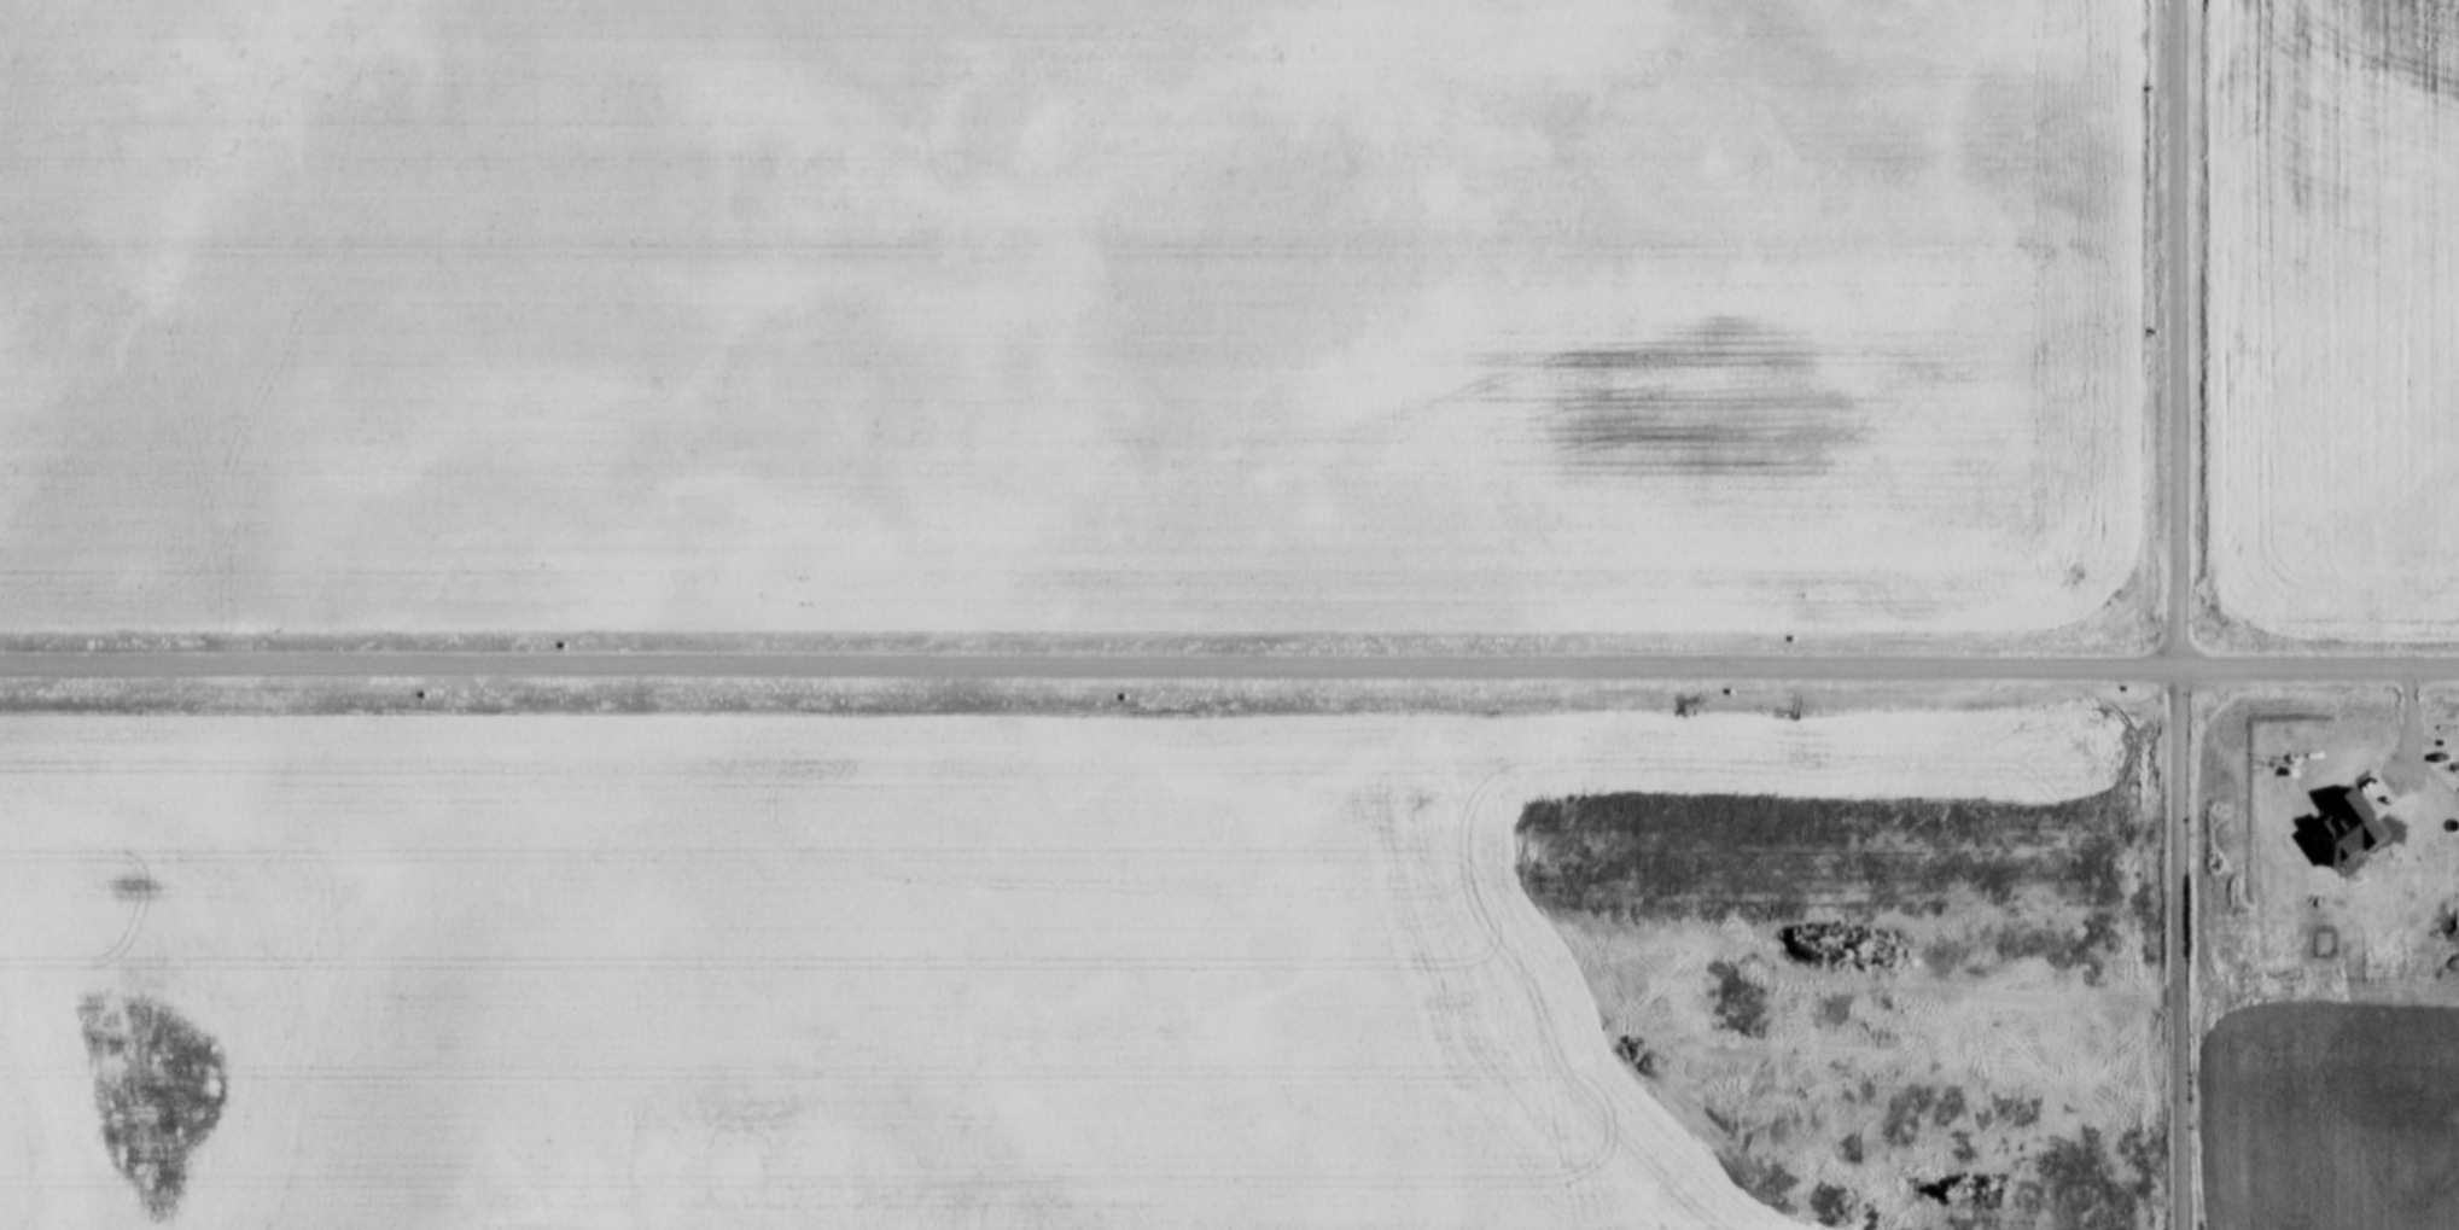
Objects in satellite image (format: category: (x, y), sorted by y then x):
road: (2177, 333)
road: (1229, 668)
road: (2179, 948)

